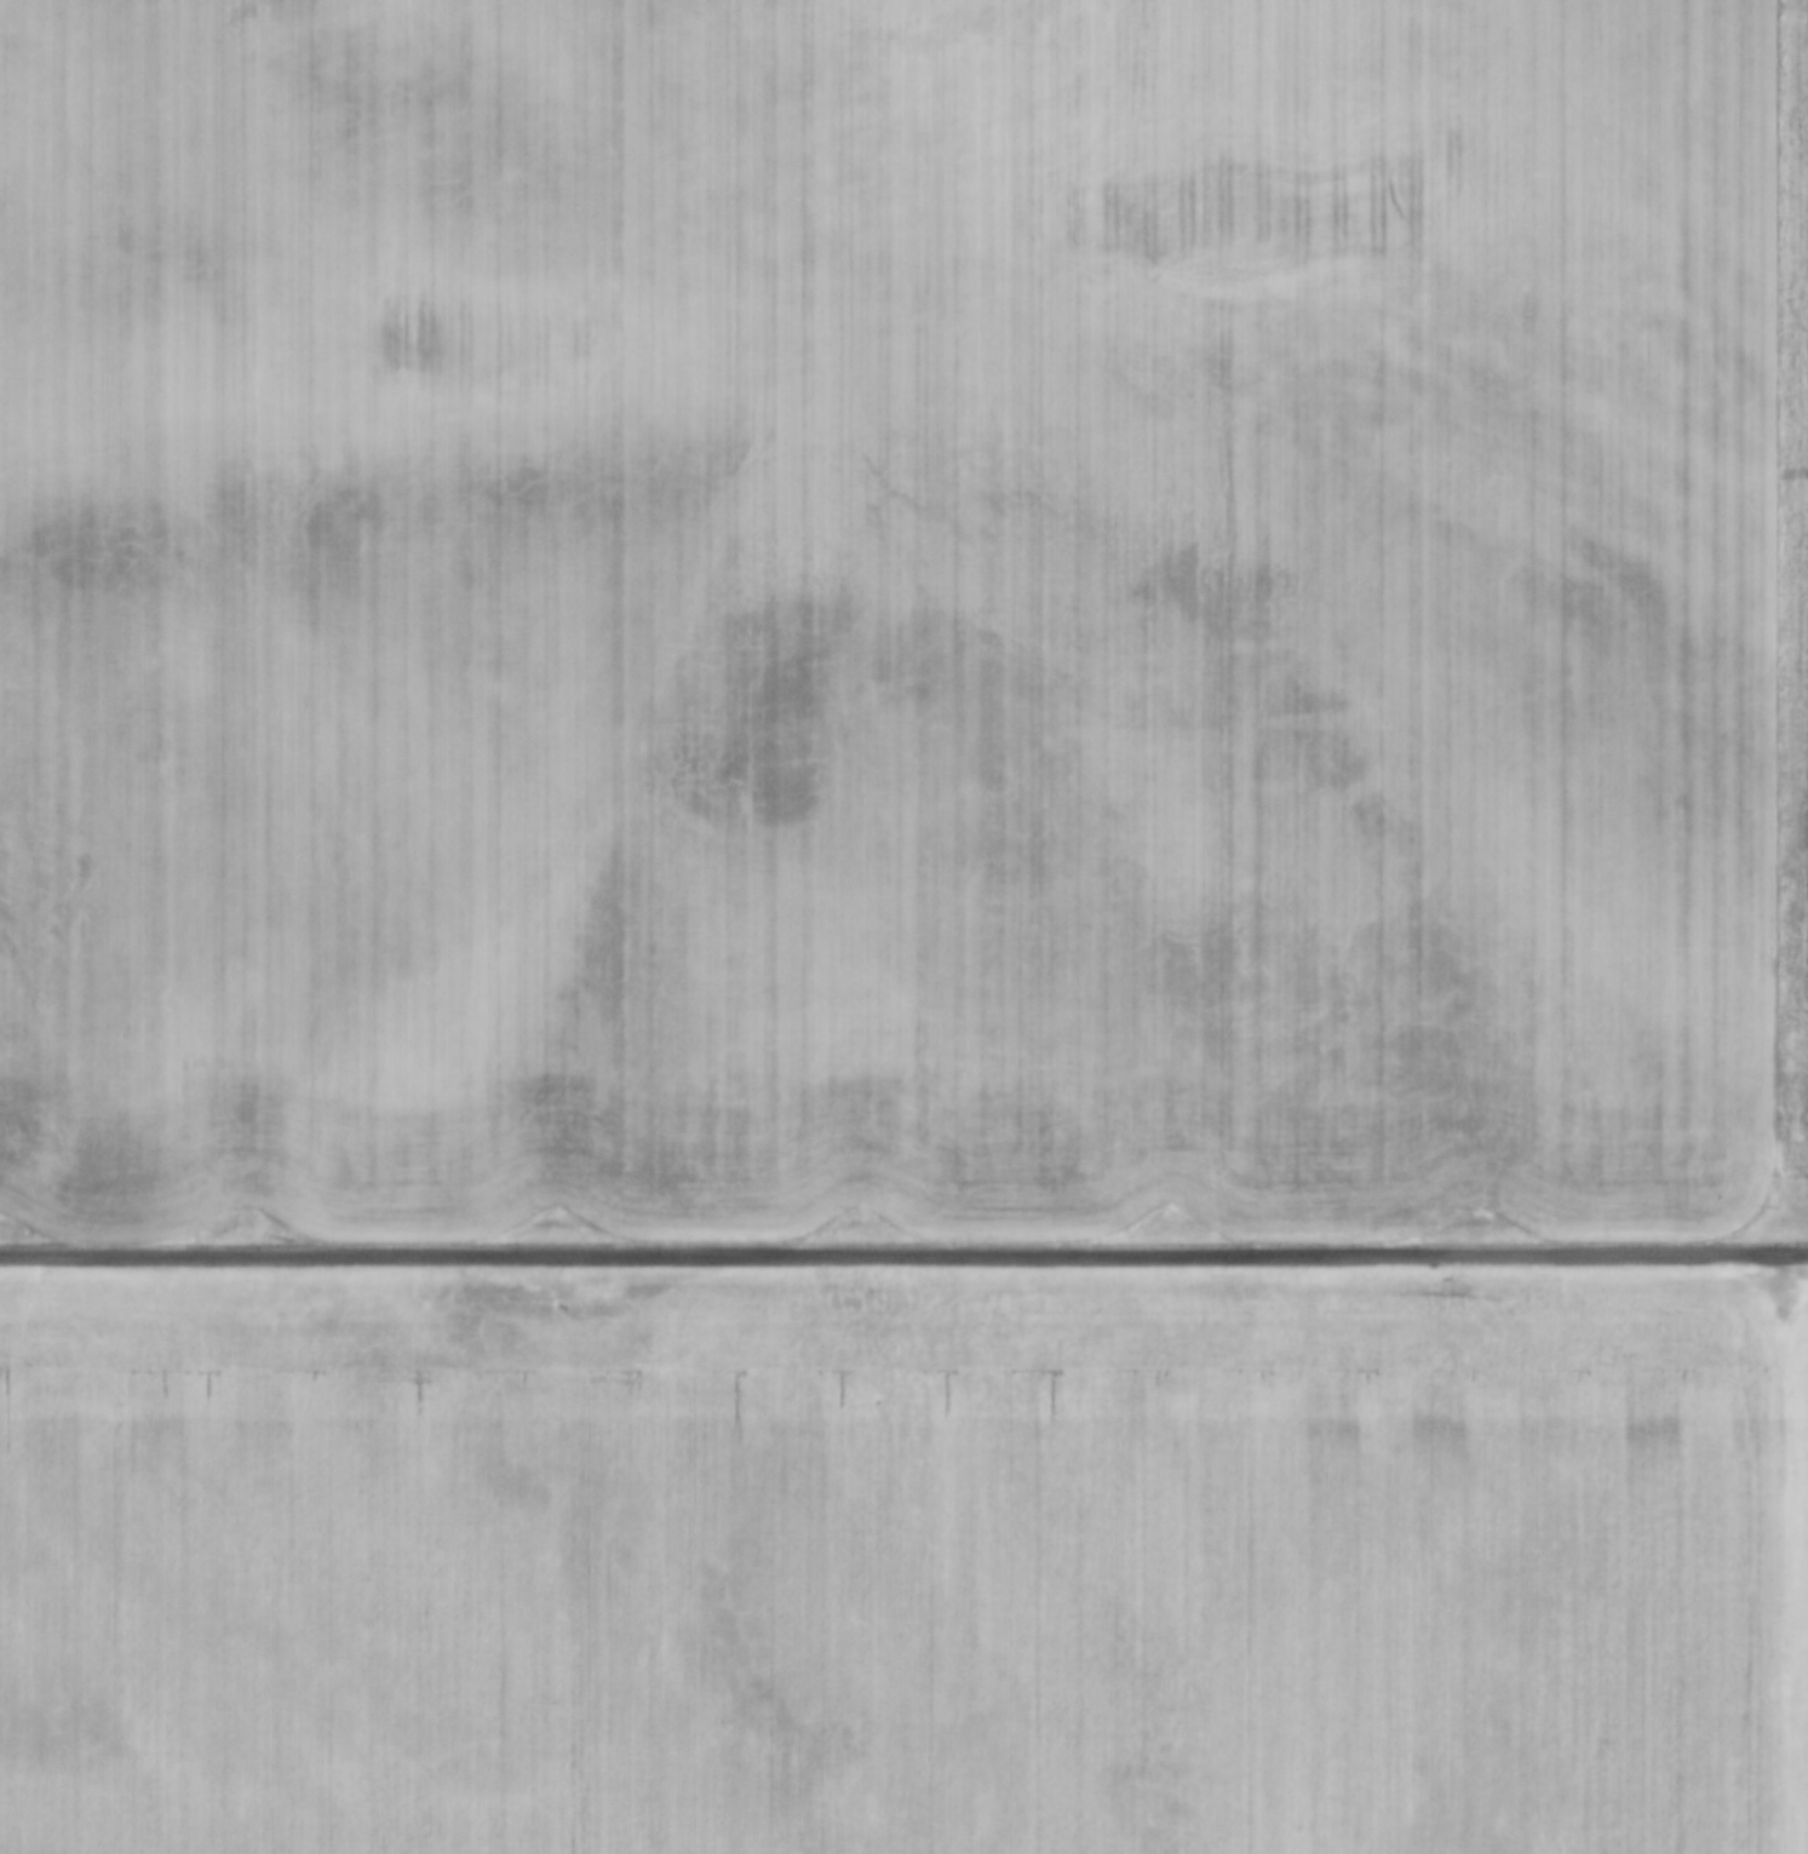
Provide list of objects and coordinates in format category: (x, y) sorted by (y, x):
road: (903, 1258)

